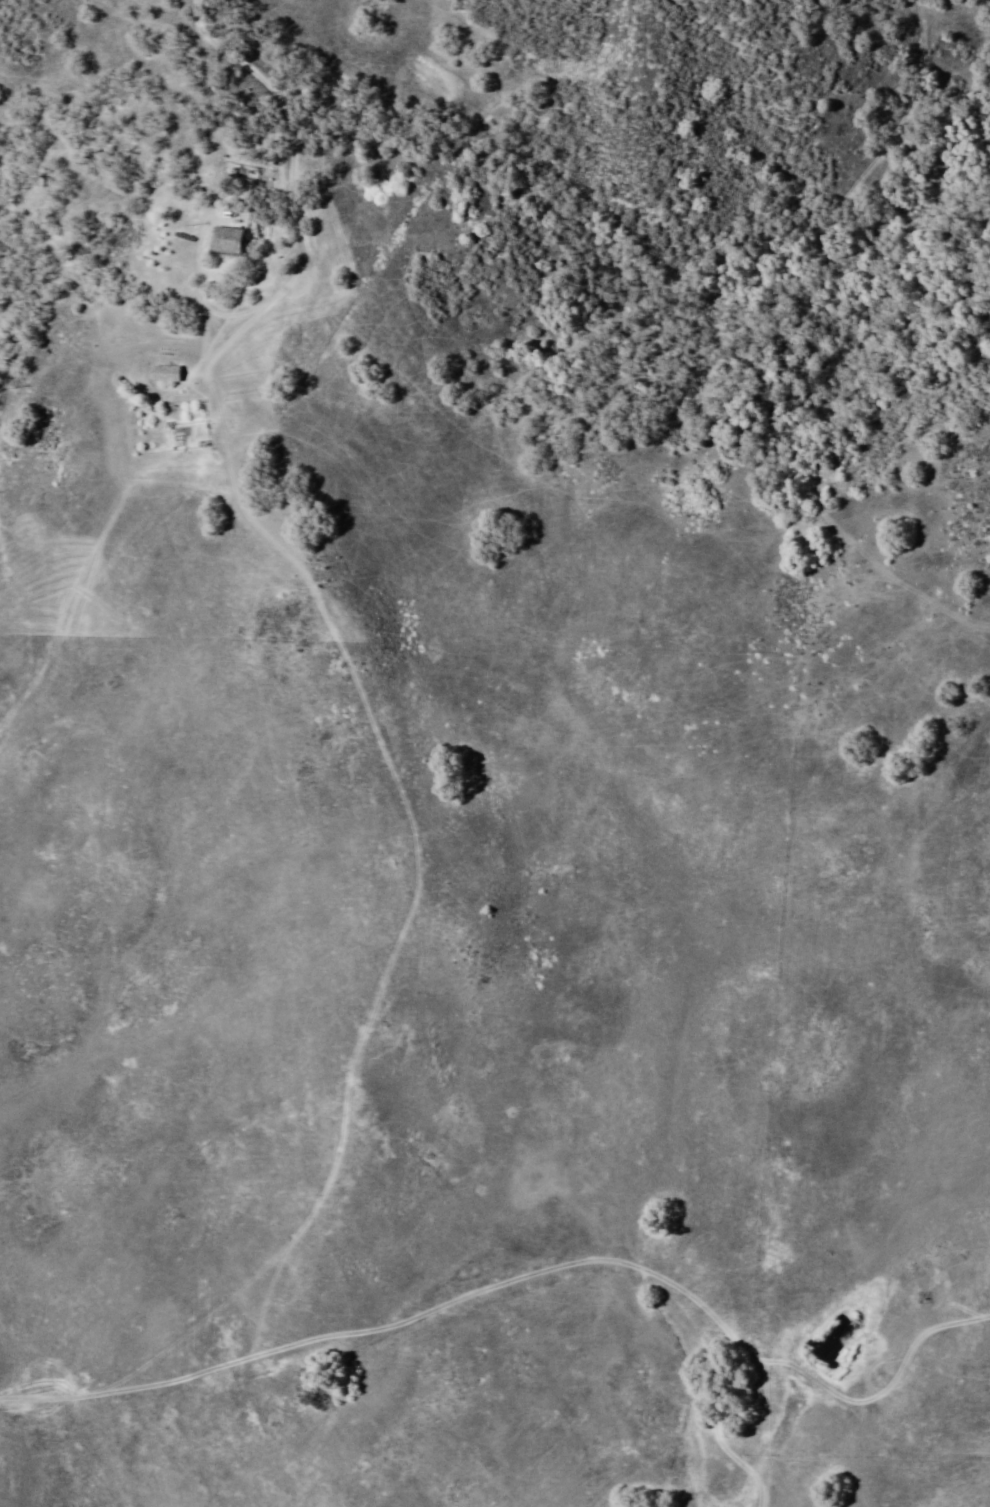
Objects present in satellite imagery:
road: (292, 189)
building: (255, 213)
building: (231, 239)
building: (170, 373)
road: (472, 1297)

